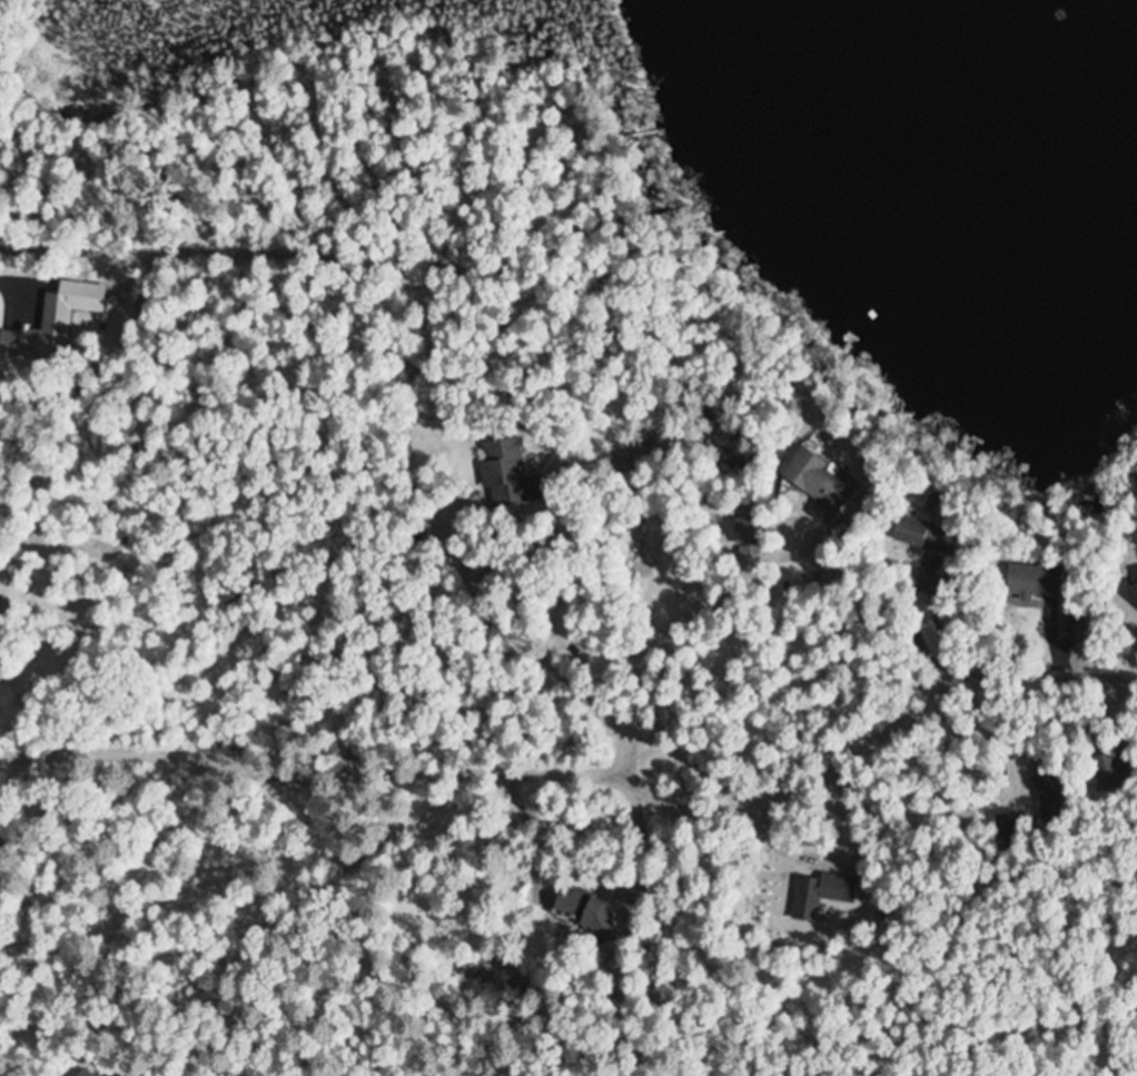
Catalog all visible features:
building: (73, 302)
building: (507, 473)
building: (818, 483)
building: (916, 530)
building: (1032, 580)
building: (1134, 589)
road: (1045, 672)
road: (409, 787)
building: (1006, 829)
building: (582, 910)

